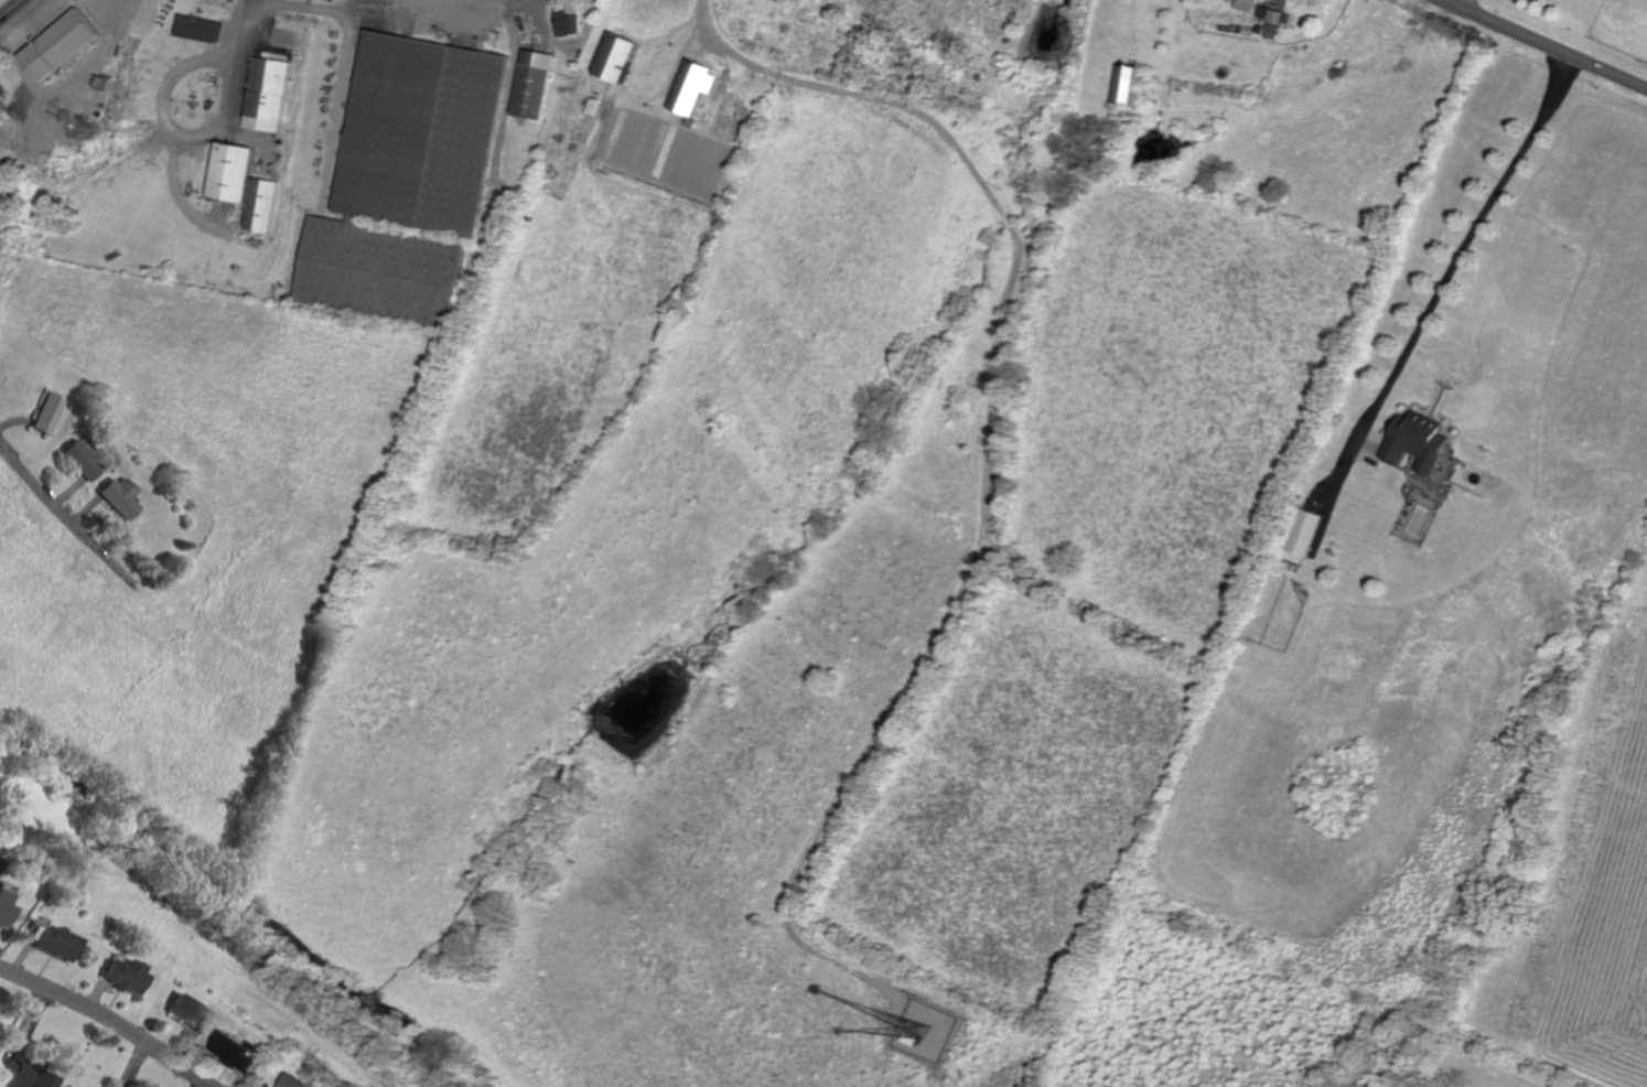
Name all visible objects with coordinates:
road: (390, 0)
road: (1462, 3)
building: (1246, 4)
road: (341, 7)
road: (11, 9)
road: (539, 12)
building: (1273, 15)
building: (566, 21)
road: (249, 23)
building: (198, 29)
flagpole: (44, 36)
building: (65, 42)
road: (1546, 44)
road: (719, 54)
building: (614, 58)
building: (531, 84)
building: (1127, 85)
building: (690, 87)
building: (3, 92)
building: (266, 95)
road: (336, 101)
road: (502, 110)
building: (6, 117)
road: (171, 123)
road: (1106, 146)
building: (227, 172)
road: (176, 191)
building: (258, 205)
building: (4, 215)
road: (1454, 259)
building: (45, 413)
building: (1415, 442)
building: (80, 460)
building: (119, 496)
road: (58, 506)
building: (1302, 536)
road: (976, 552)
building: (0, 907)
building: (45, 941)
building: (114, 973)
building: (176, 1010)
road: (107, 1024)
building: (237, 1052)
building: (20, 1076)
building: (297, 1081)
building: (68, 1086)

